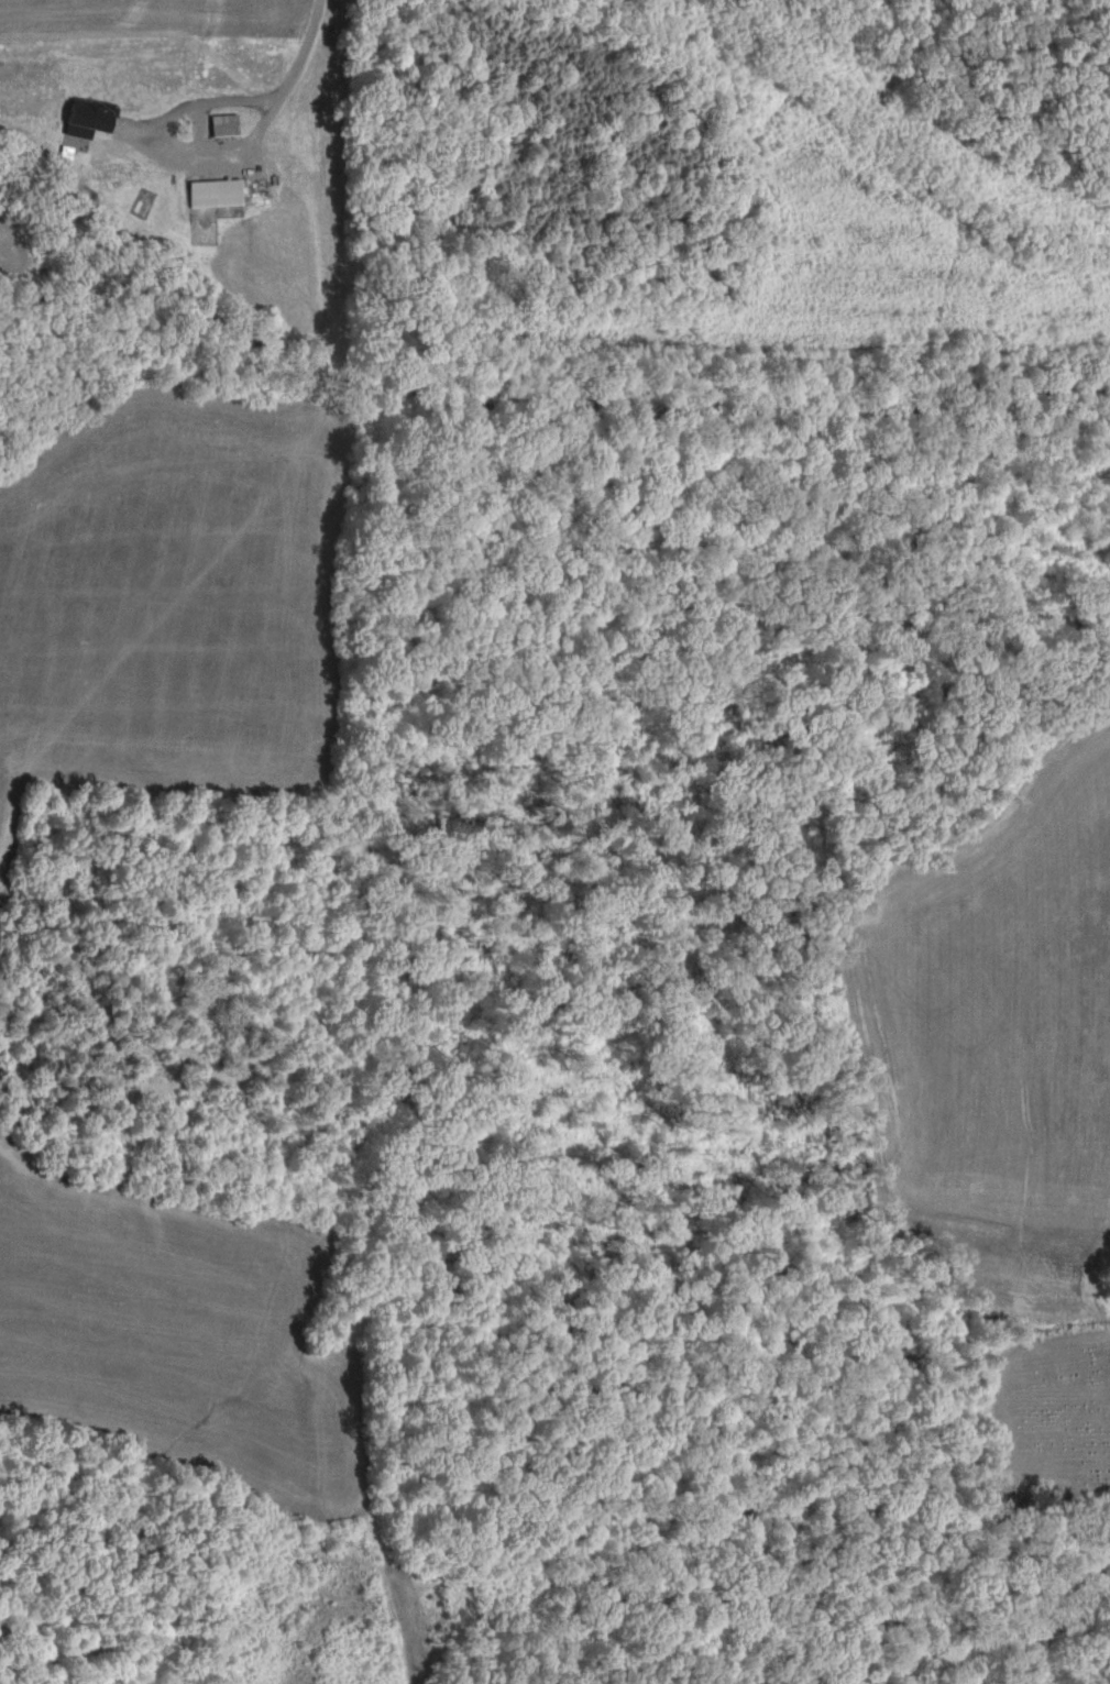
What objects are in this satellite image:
road: (286, 81)
building: (81, 120)
building: (221, 124)
building: (212, 192)

